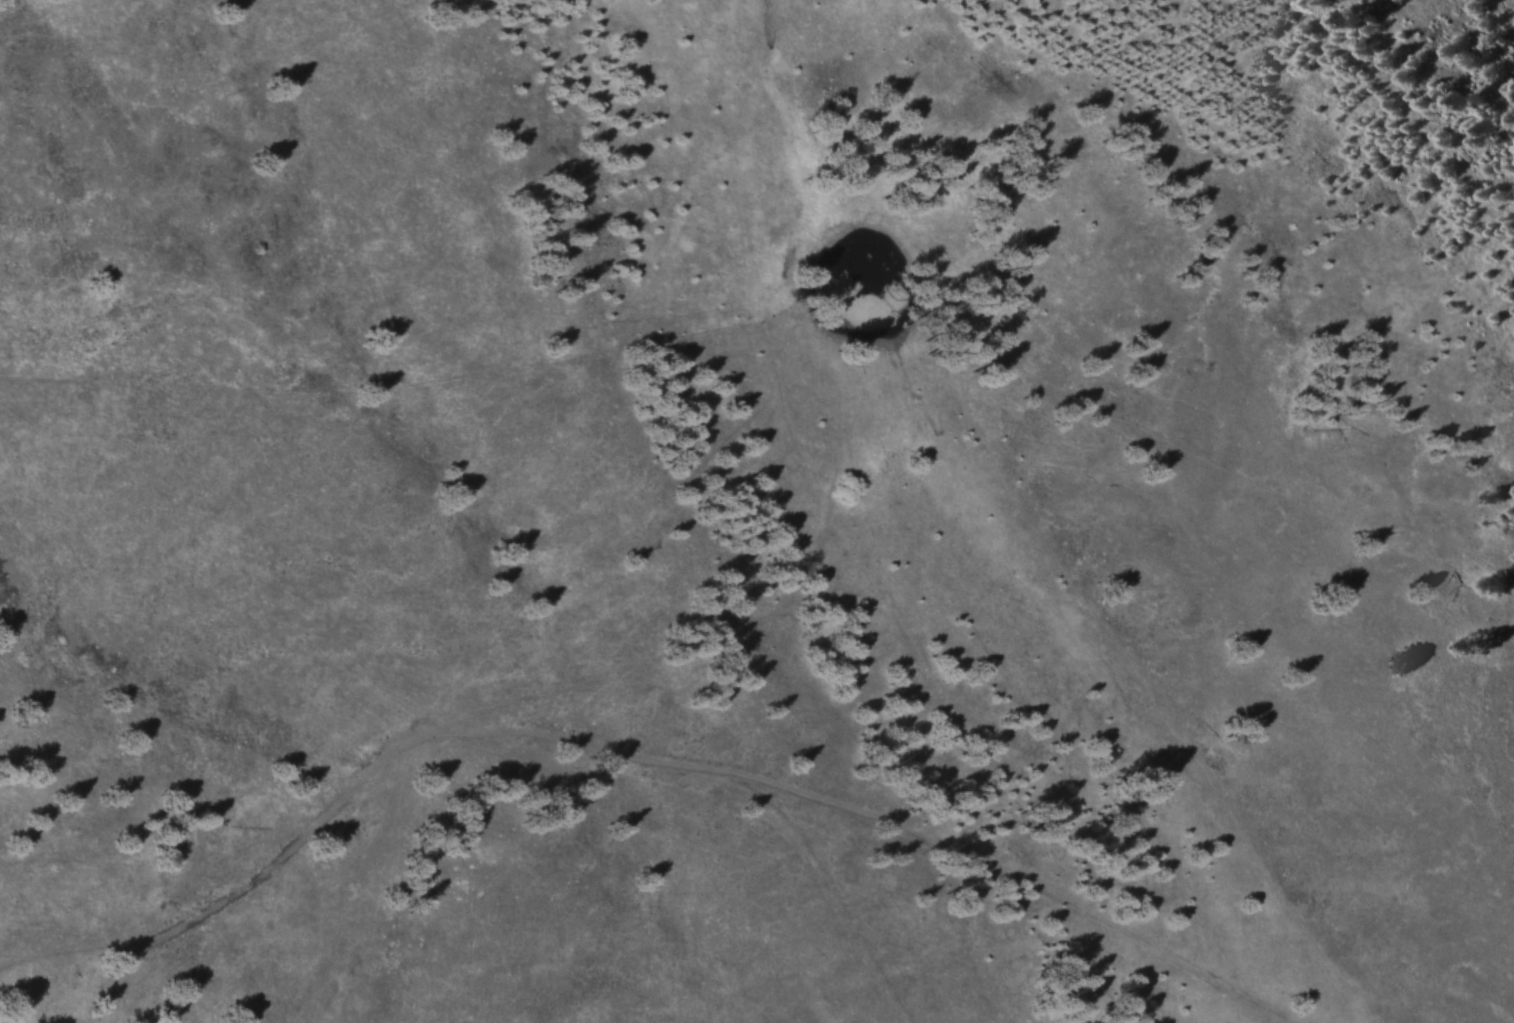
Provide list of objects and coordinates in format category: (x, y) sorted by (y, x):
road: (581, 759)

